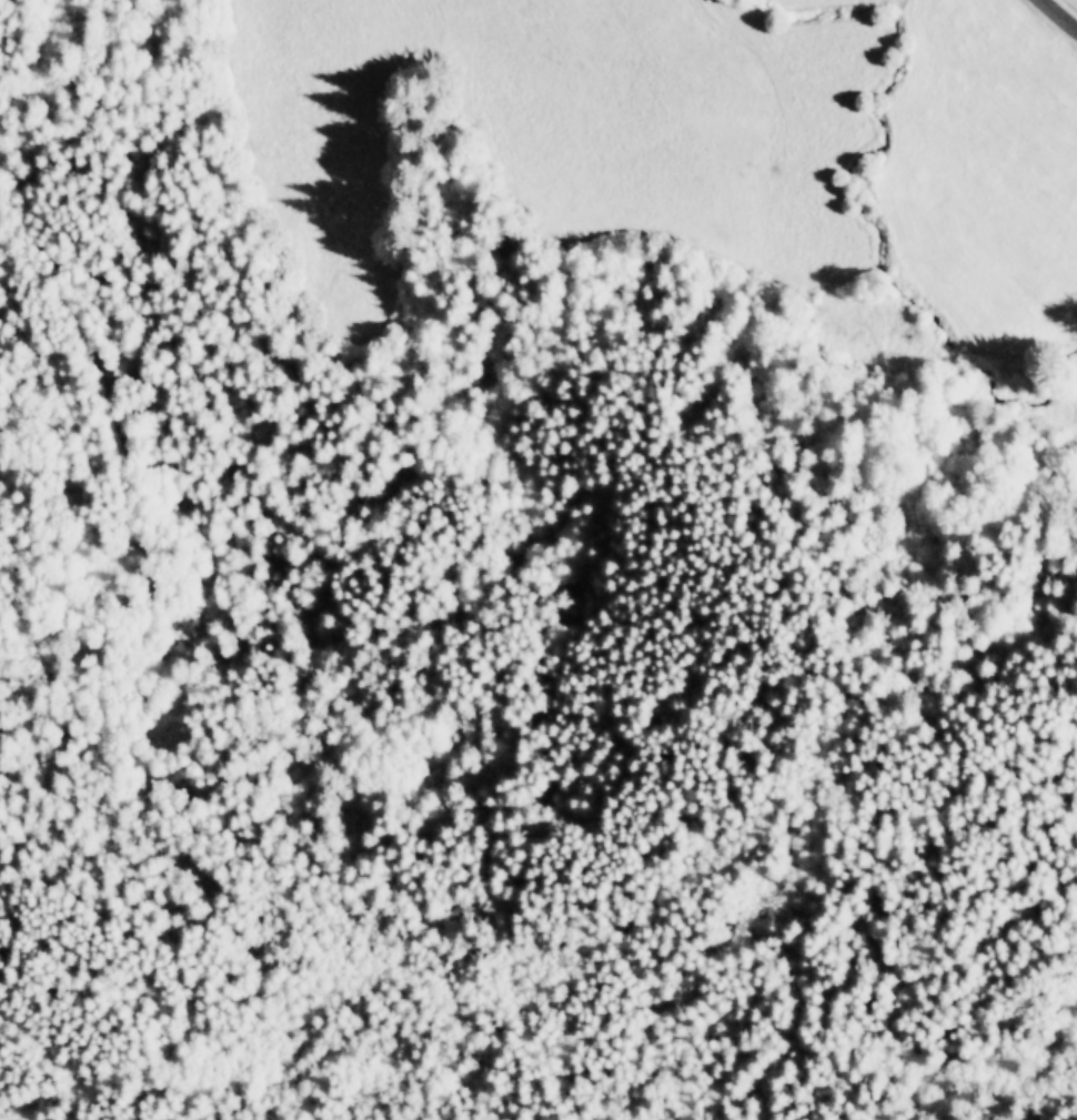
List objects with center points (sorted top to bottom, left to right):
road: (1063, 11)

